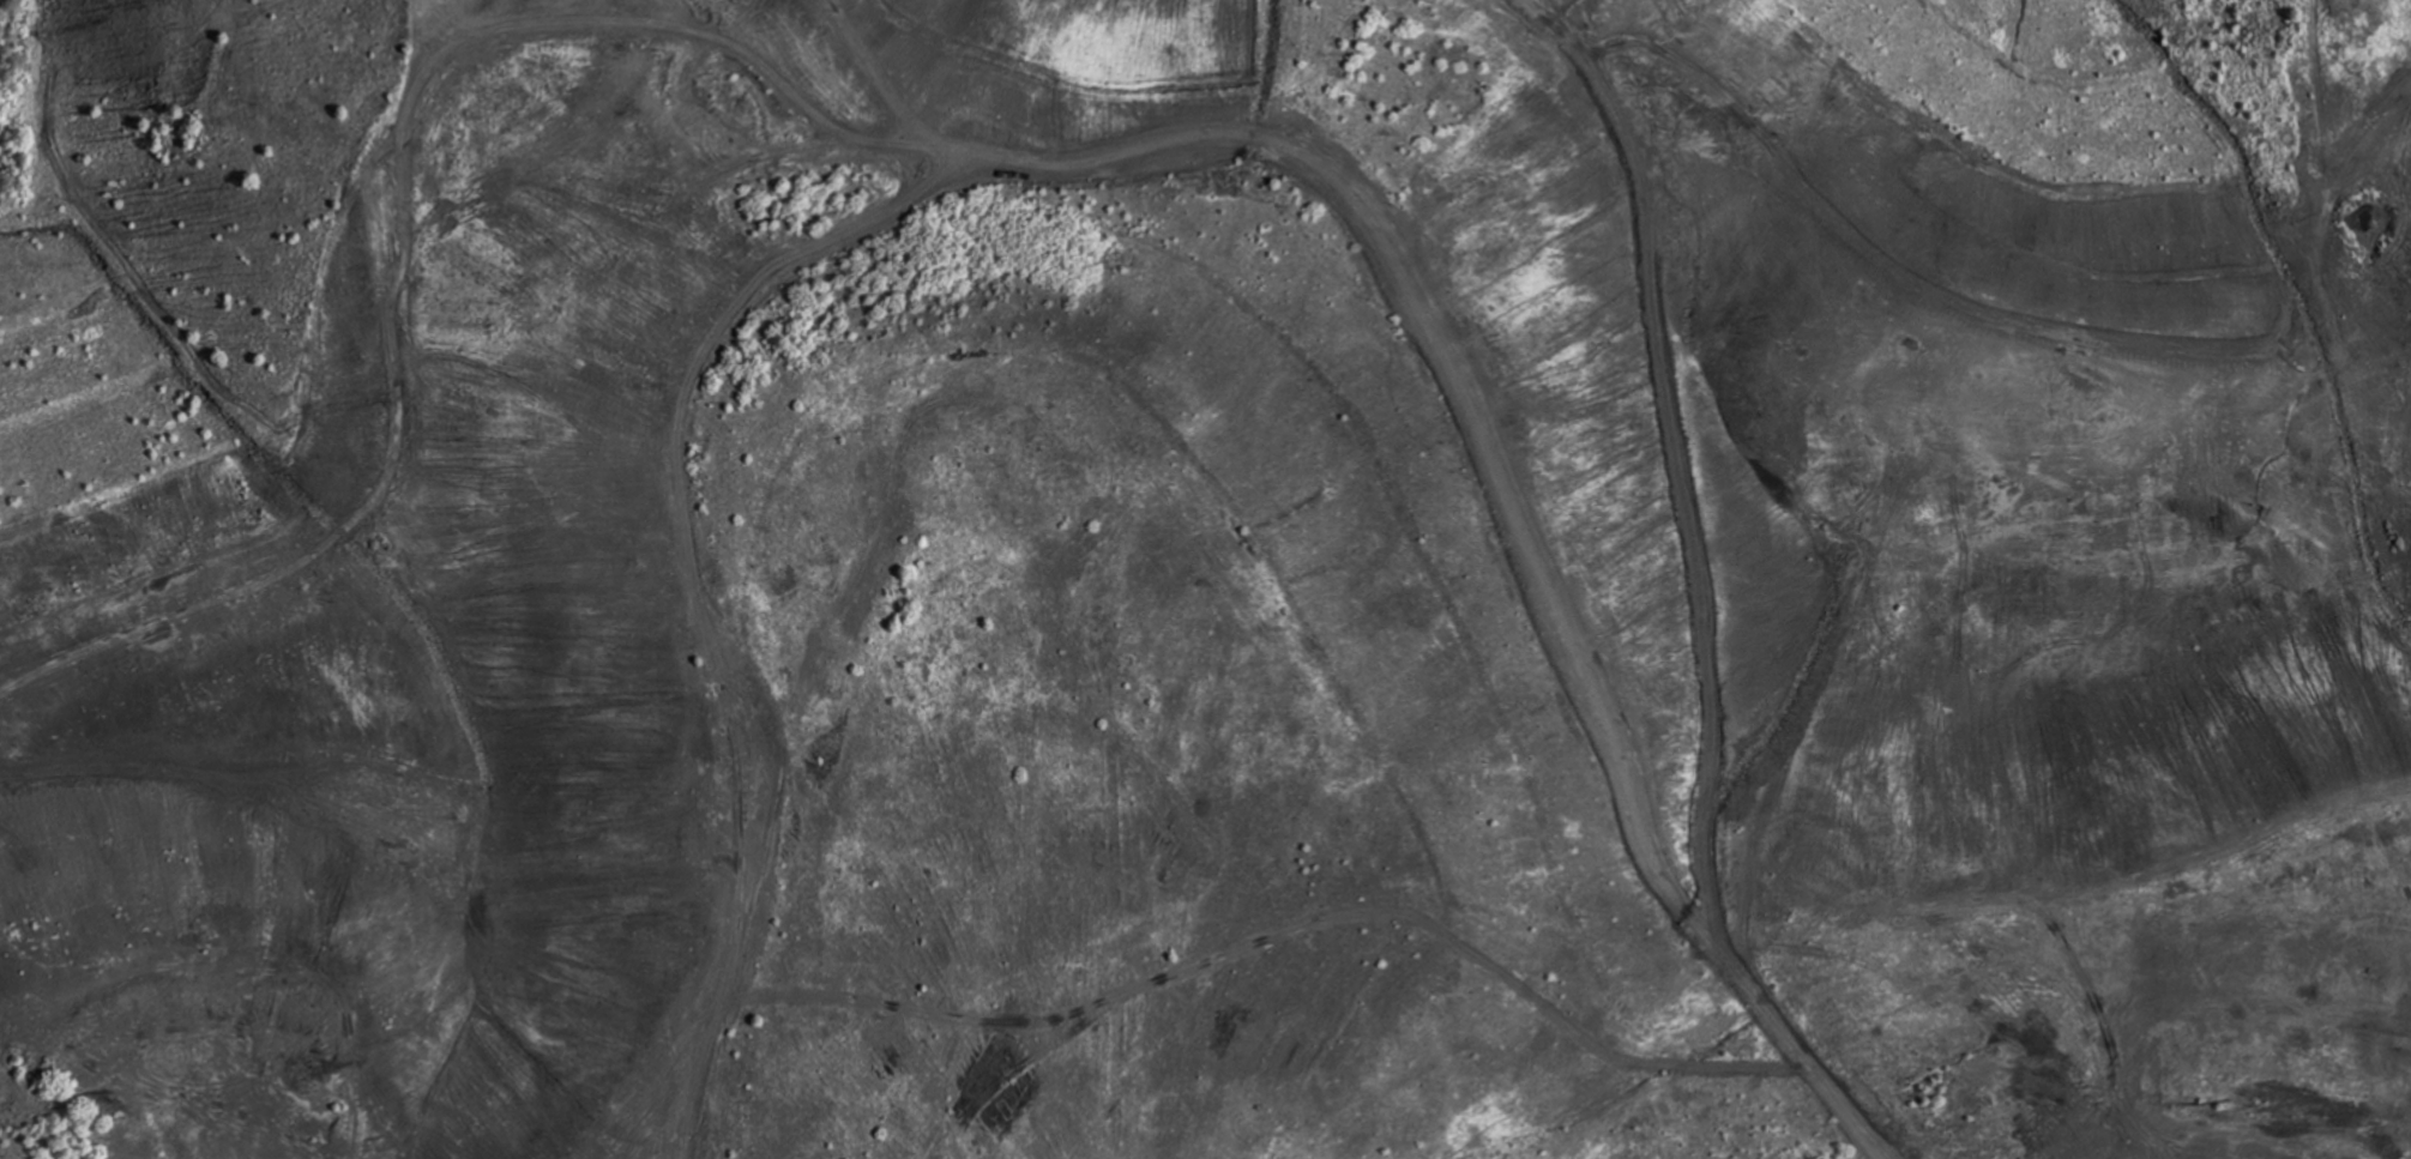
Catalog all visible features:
building: (2153, 1140)

